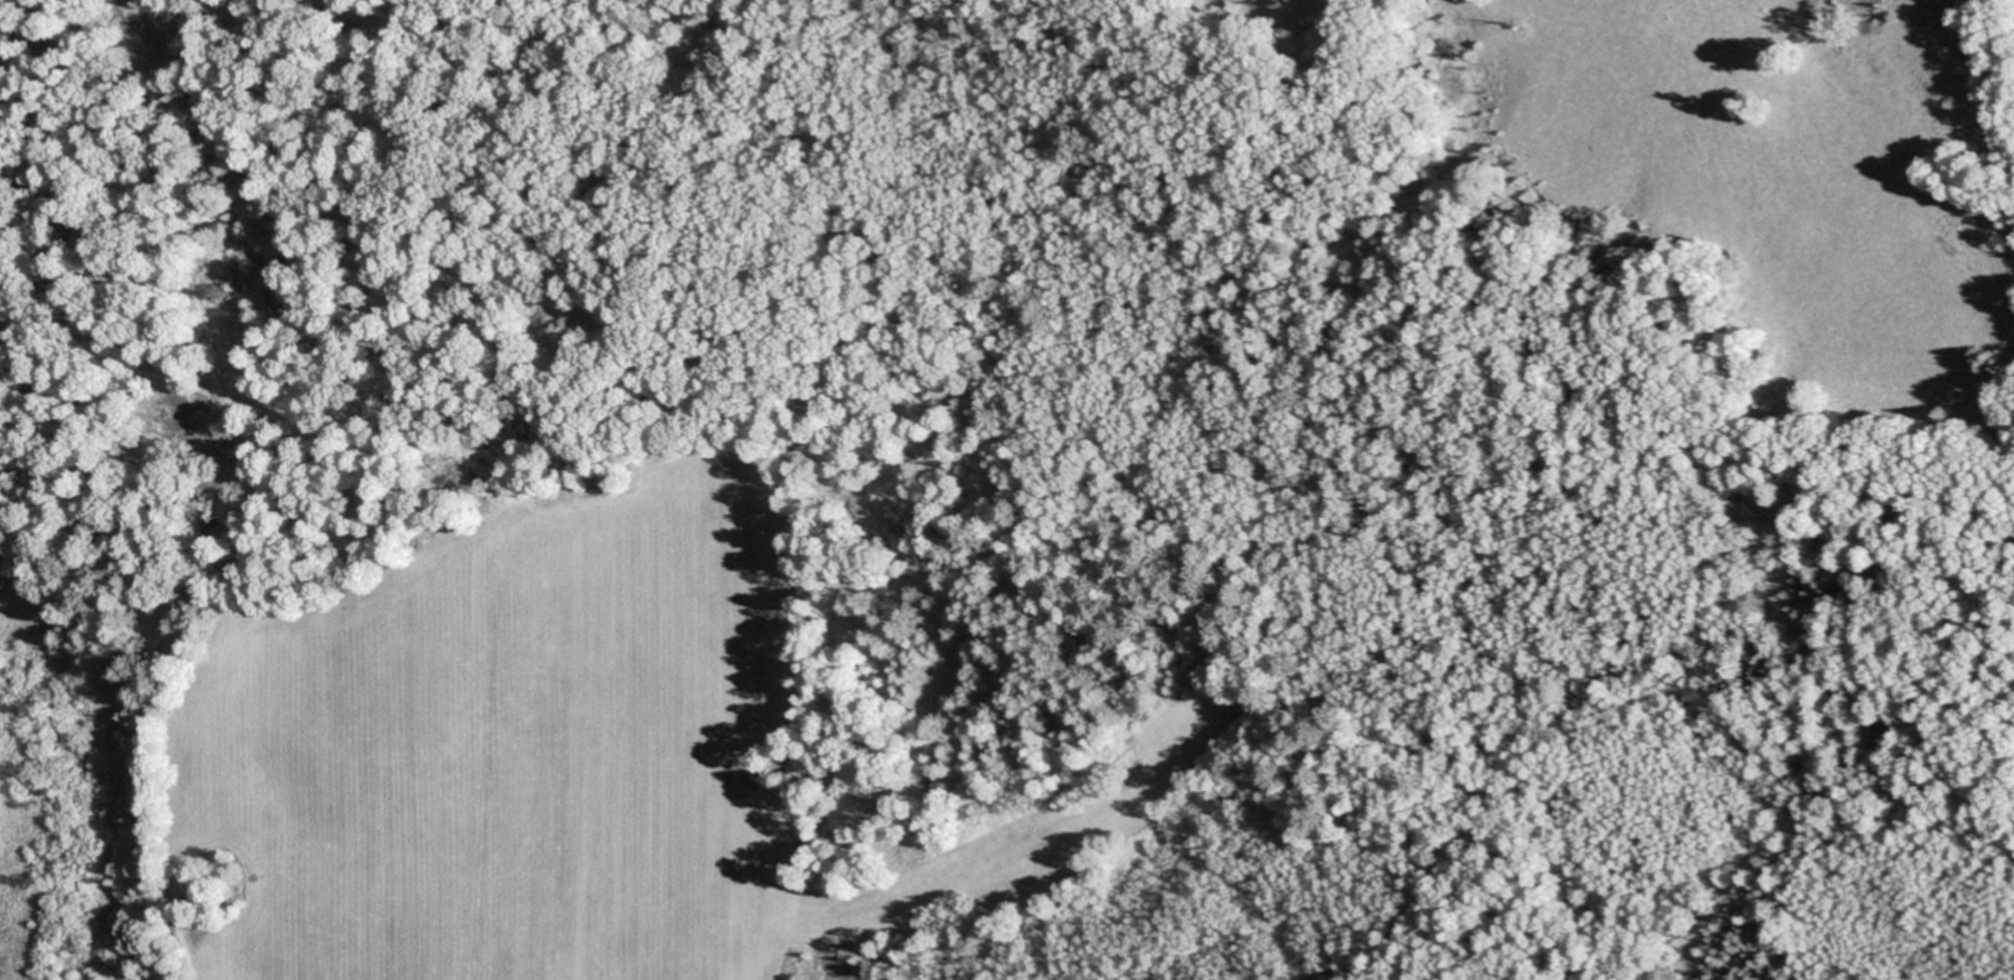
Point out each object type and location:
building: (130, 958)

